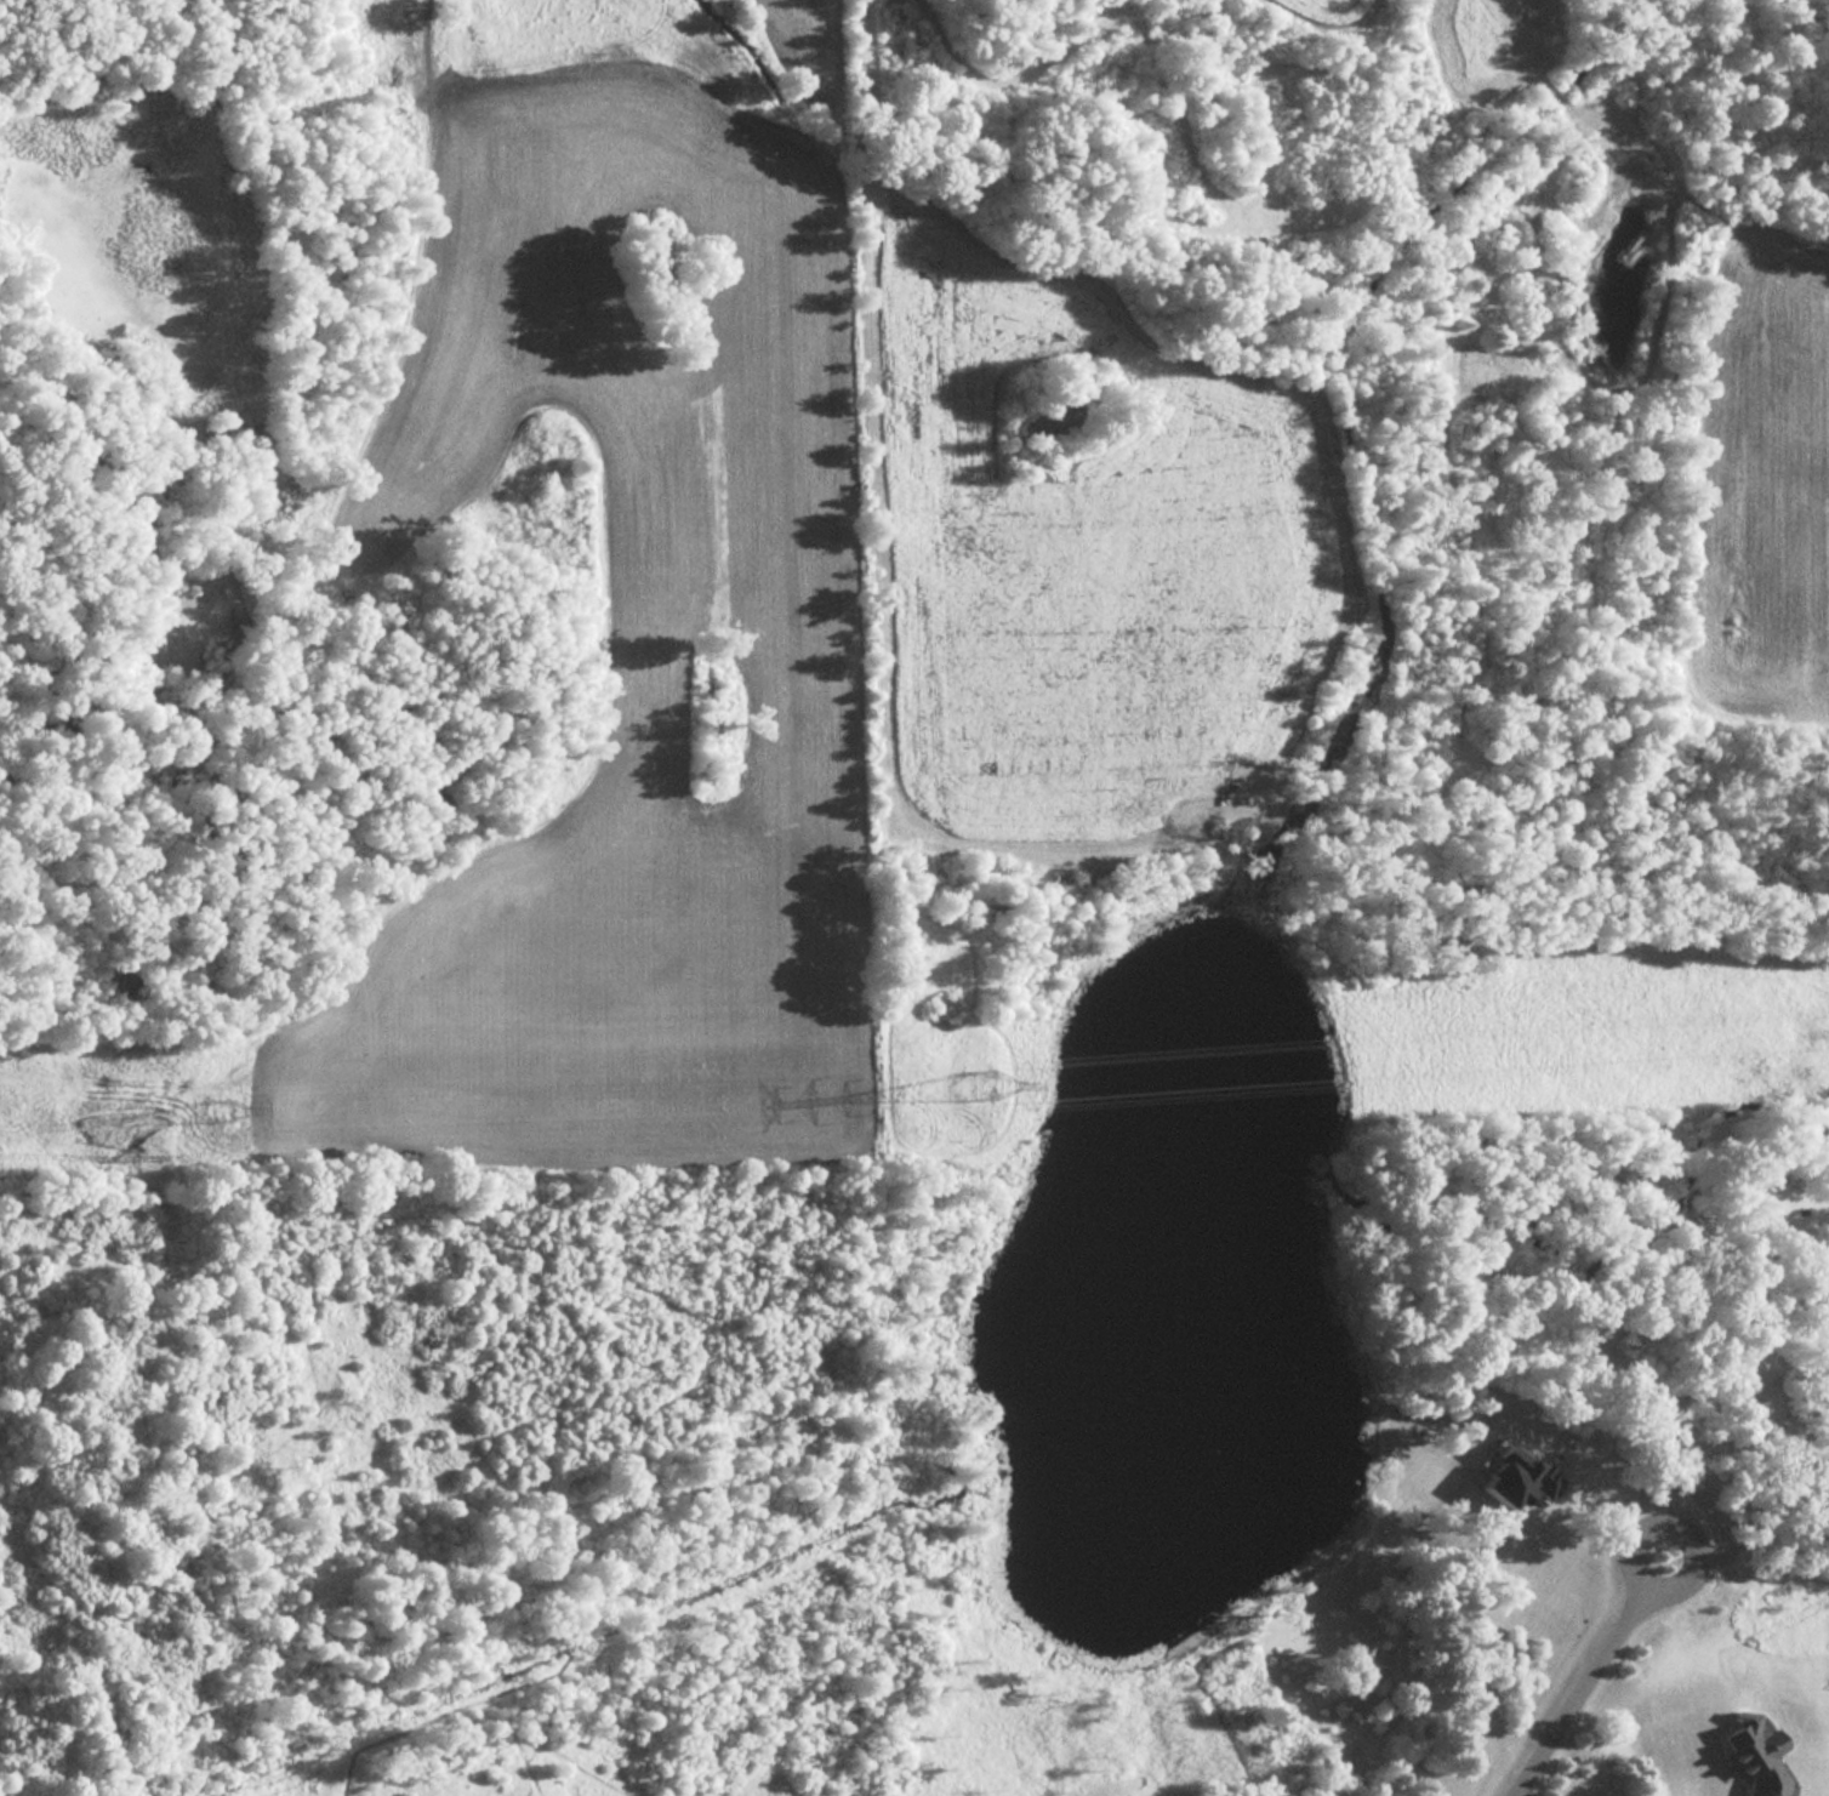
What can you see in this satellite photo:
power tower: (984, 1085)
power tower: (222, 1112)
road: (1628, 1492)
road: (1754, 1529)
road: (1591, 1677)
building: (1756, 1756)

